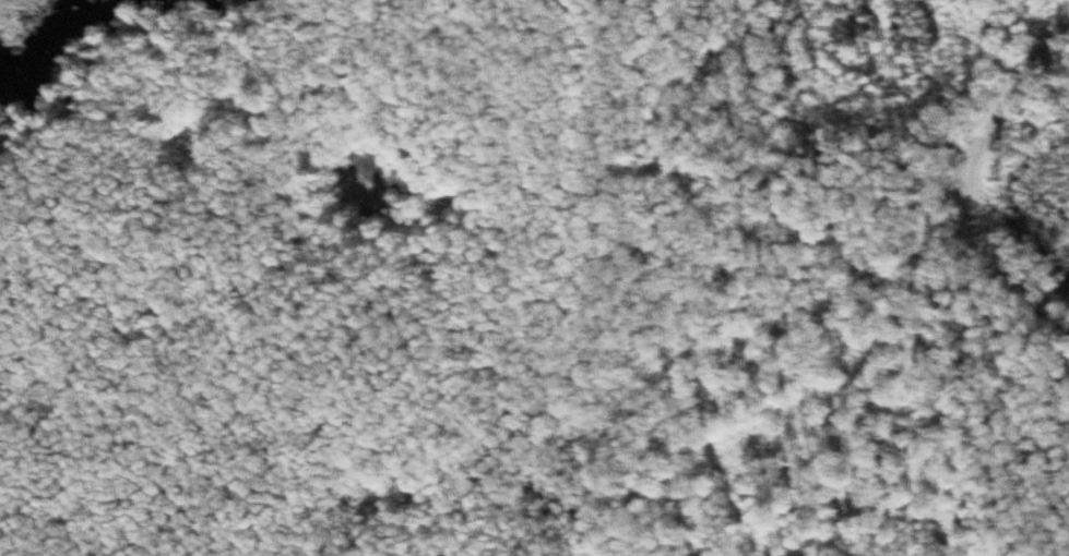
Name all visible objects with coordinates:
road: (268, 130)
road: (960, 169)
road: (317, 384)

